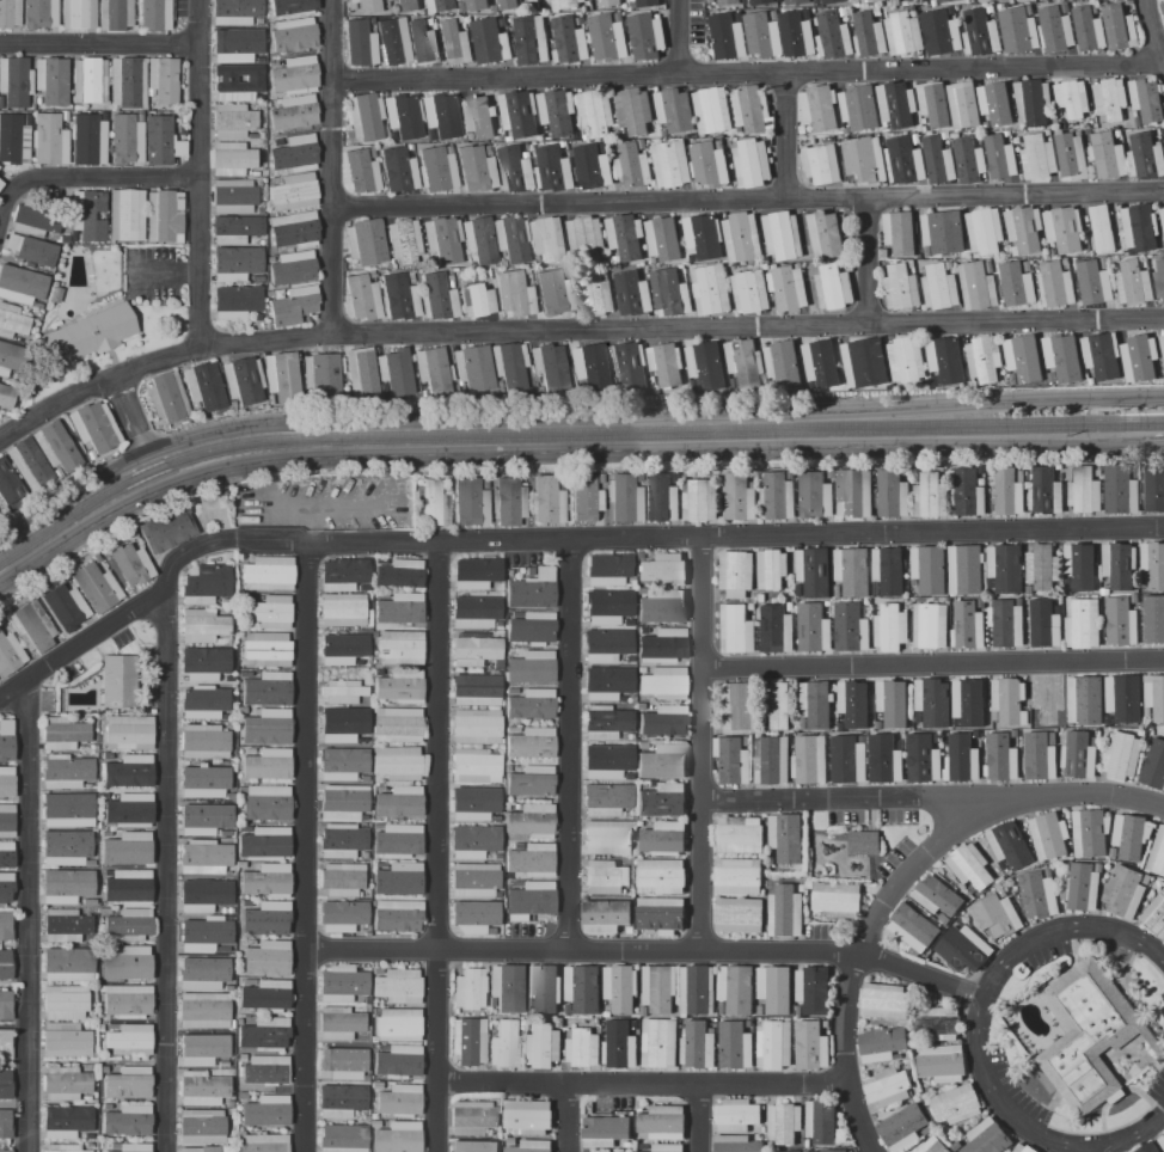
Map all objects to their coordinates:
building: (467, 0)
building: (866, 0)
building: (981, 0)
building: (1011, 0)
building: (1019, 0)
building: (460, 1)
building: (760, 1)
building: (795, 1)
building: (832, 1)
building: (895, 1)
building: (933, 1)
building: (945, 1)
building: (973, 1)
building: (608, 2)
building: (728, 2)
building: (816, 2)
building: (854, 2)
building: (506, 4)
building: (533, 4)
building: (568, 4)
building: (648, 4)
building: (1163, 4)
building: (406, 5)
building: (441, 5)
building: (363, 6)
building: (555, 6)
building: (912, 6)
building: (293, 7)
building: (1065, 8)
building: (1095, 8)
building: (813, 10)
building: (951, 10)
building: (1029, 10)
building: (235, 11)
building: (423, 11)
building: (843, 11)
building: (877, 11)
building: (10, 13)
building: (38, 13)
building: (78, 14)
building: (114, 14)
building: (154, 16)
building: (369, 20)
building: (580, 20)
building: (399, 22)
building: (431, 22)
building: (503, 22)
building: (257, 23)
building: (464, 25)
building: (1119, 26)
building: (1055, 29)
building: (1088, 29)
building: (1018, 30)
road: (1153, 31)
building: (939, 32)
building: (980, 32)
building: (762, 33)
building: (796, 33)
building: (833, 33)
building: (902, 33)
building: (293, 35)
road: (682, 35)
building: (869, 35)
building: (647, 36)
building: (727, 36)
building: (607, 39)
building: (531, 41)
building: (569, 41)
building: (422, 42)
building: (457, 42)
building: (490, 42)
building: (359, 43)
road: (100, 44)
building: (396, 45)
building: (234, 47)
building: (269, 65)
road: (746, 67)
building: (294, 76)
building: (51, 80)
building: (88, 80)
building: (163, 80)
building: (14, 82)
building: (127, 84)
building: (235, 84)
building: (251, 98)
building: (1070, 98)
building: (1110, 98)
building: (1146, 99)
building: (37, 100)
building: (993, 100)
building: (1034, 100)
building: (0, 103)
building: (933, 103)
building: (268, 104)
building: (896, 104)
building: (962, 104)
building: (819, 106)
building: (75, 108)
building: (859, 108)
building: (749, 109)
building: (557, 110)
building: (633, 110)
building: (674, 110)
building: (711, 110)
building: (404, 111)
building: (595, 111)
building: (519, 112)
building: (293, 114)
building: (441, 114)
building: (63, 116)
building: (102, 116)
building: (477, 116)
building: (139, 117)
building: (364, 117)
building: (923, 120)
building: (233, 121)
building: (1137, 121)
building: (801, 128)
building: (924, 128)
building: (182, 130)
building: (841, 130)
building: (1048, 131)
building: (1059, 131)
building: (1078, 131)
road: (786, 133)
building: (1007, 133)
building: (1117, 133)
building: (955, 134)
building: (252, 135)
building: (261, 135)
building: (945, 136)
building: (468, 137)
building: (915, 137)
building: (49, 139)
building: (124, 139)
building: (391, 139)
building: (431, 139)
building: (509, 139)
building: (86, 140)
building: (827, 140)
building: (13, 141)
building: (160, 141)
building: (563, 143)
building: (946, 143)
building: (643, 145)
building: (409, 146)
building: (446, 148)
building: (1163, 148)
building: (486, 151)
building: (370, 152)
building: (294, 153)
building: (526, 153)
building: (1107, 155)
building: (1146, 155)
building: (999, 157)
building: (1037, 157)
building: (1071, 157)
building: (231, 159)
building: (864, 159)
building: (903, 160)
building: (937, 160)
building: (969, 160)
building: (751, 163)
building: (670, 164)
building: (822, 164)
building: (632, 165)
building: (709, 165)
road: (331, 166)
building: (594, 167)
building: (552, 168)
building: (398, 170)
building: (477, 170)
building: (514, 170)
building: (361, 172)
road: (201, 173)
building: (255, 173)
building: (435, 173)
building: (247, 176)
road: (93, 180)
building: (1, 184)
building: (293, 192)
building: (233, 197)
road: (747, 200)
building: (261, 209)
building: (125, 215)
building: (86, 216)
building: (164, 217)
building: (33, 219)
building: (1162, 219)
building: (1101, 226)
building: (1024, 228)
building: (1064, 228)
building: (1140, 228)
building: (235, 229)
building: (293, 229)
building: (985, 229)
building: (899, 232)
building: (942, 232)
building: (825, 234)
building: (625, 235)
building: (782, 235)
building: (586, 237)
building: (702, 237)
building: (741, 237)
building: (662, 238)
building: (63, 239)
building: (442, 239)
building: (483, 239)
building: (547, 239)
building: (403, 240)
building: (514, 240)
building: (261, 241)
building: (364, 241)
building: (255, 243)
building: (30, 250)
building: (1015, 251)
building: (1125, 251)
building: (269, 252)
building: (1053, 252)
building: (918, 256)
road: (868, 258)
building: (269, 259)
building: (617, 259)
building: (1066, 262)
building: (1104, 263)
building: (237, 264)
building: (503, 264)
building: (949, 264)
building: (1144, 264)
building: (29, 265)
building: (471, 265)
building: (538, 265)
building: (911, 266)
building: (988, 266)
building: (1027, 266)
building: (293, 269)
building: (454, 270)
road: (167, 271)
building: (526, 272)
building: (41, 274)
parking lot: (152, 274)
building: (485, 274)
building: (370, 275)
building: (257, 278)
building: (449, 278)
building: (1159, 278)
building: (1093, 282)
building: (1133, 283)
building: (1016, 284)
building: (1054, 284)
building: (19, 286)
building: (976, 286)
building: (788, 287)
building: (833, 287)
building: (900, 287)
building: (939, 287)
building: (710, 289)
building: (749, 292)
building: (594, 293)
building: (632, 293)
building: (669, 293)
building: (269, 294)
building: (513, 294)
building: (55, 295)
building: (553, 296)
building: (398, 298)
building: (437, 298)
building: (361, 299)
building: (235, 301)
building: (477, 301)
building: (293, 305)
building: (12, 321)
road: (570, 326)
building: (88, 335)
building: (1162, 347)
building: (1022, 355)
building: (1102, 355)
building: (945, 357)
building: (1060, 357)
building: (1139, 357)
building: (7, 359)
building: (984, 359)
flagpole: (99, 360)
building: (907, 360)
building: (743, 362)
building: (820, 362)
building: (627, 363)
building: (666, 363)
building: (780, 363)
building: (864, 363)
building: (705, 364)
building: (509, 367)
building: (589, 367)
building: (393, 368)
building: (473, 368)
building: (547, 369)
building: (433, 370)
building: (361, 373)
building: (281, 375)
building: (321, 375)
building: (243, 381)
building: (204, 385)
building: (6, 397)
building: (167, 397)
building: (270, 404)
building: (232, 405)
railway: (1120, 410)
building: (233, 411)
building: (1, 412)
road: (133, 415)
road: (568, 417)
building: (94, 427)
railway: (566, 430)
railway: (566, 440)
building: (57, 446)
road: (1153, 446)
road: (555, 452)
building: (90, 455)
road: (566, 462)
building: (30, 464)
building: (1058, 465)
building: (944, 467)
building: (1099, 467)
building: (981, 470)
building: (906, 472)
building: (1098, 472)
building: (57, 473)
building: (833, 473)
building: (1137, 473)
building: (1021, 476)
building: (1061, 476)
building: (675, 479)
building: (8, 483)
building: (447, 484)
building: (753, 484)
building: (1153, 486)
building: (1084, 490)
building: (1120, 490)
building: (1009, 491)
building: (1046, 491)
building: (852, 492)
building: (969, 492)
building: (893, 495)
building: (739, 496)
building: (777, 496)
building: (815, 496)
building: (930, 496)
building: (660, 497)
building: (624, 498)
building: (251, 501)
building: (546, 501)
building: (700, 501)
building: (508, 502)
building: (584, 502)
building: (207, 503)
building: (431, 503)
building: (470, 505)
building: (5, 513)
building: (252, 520)
building: (167, 529)
road: (653, 537)
building: (639, 556)
building: (94, 557)
building: (240, 557)
building: (249, 557)
building: (380, 560)
building: (129, 562)
building: (1119, 564)
building: (1153, 564)
building: (1079, 565)
building: (1041, 566)
building: (1004, 568)
building: (771, 569)
building: (929, 569)
building: (966, 569)
building: (608, 570)
building: (663, 570)
building: (852, 570)
building: (888, 570)
building: (813, 571)
building: (476, 572)
building: (736, 572)
building: (268, 574)
building: (342, 574)
building: (399, 574)
building: (632, 583)
building: (204, 584)
building: (990, 584)
building: (626, 586)
building: (96, 588)
building: (362, 589)
building: (532, 589)
building: (876, 589)
building: (1029, 589)
building: (798, 590)
building: (838, 592)
building: (1104, 592)
building: (754, 594)
building: (1095, 595)
building: (761, 596)
building: (936, 599)
building: (1134, 599)
building: (944, 600)
building: (1019, 601)
building: (981, 602)
building: (65, 606)
building: (661, 606)
building: (790, 606)
building: (607, 607)
building: (752, 608)
building: (341, 609)
building: (399, 609)
building: (866, 611)
building: (990, 611)
building: (268, 612)
building: (476, 612)
building: (828, 614)
building: (369, 618)
building: (1153, 620)
building: (1120, 621)
building: (627, 623)
building: (1007, 623)
building: (497, 624)
building: (1044, 624)
building: (1083, 624)
building: (202, 625)
building: (967, 625)
building: (31, 626)
building: (851, 626)
building: (890, 626)
building: (930, 626)
building: (529, 627)
building: (814, 627)
building: (736, 629)
building: (774, 629)
building: (644, 631)
building: (239, 635)
road: (82, 641)
building: (606, 645)
building: (661, 645)
building: (341, 648)
building: (398, 648)
building: (267, 649)
building: (473, 649)
building: (11, 655)
building: (629, 660)
building: (356, 663)
road: (932, 663)
building: (203, 664)
building: (489, 664)
building: (529, 667)
building: (641, 670)
building: (378, 673)
building: (244, 674)
building: (227, 680)
building: (118, 681)
building: (607, 684)
building: (663, 684)
building: (400, 687)
building: (267, 690)
building: (476, 691)
building: (342, 692)
building: (511, 692)
building: (1154, 696)
building: (620, 698)
building: (1122, 698)
building: (632, 699)
building: (1047, 699)
building: (1009, 700)
building: (1084, 700)
building: (202, 703)
building: (931, 703)
building: (967, 703)
building: (531, 704)
building: (853, 704)
building: (890, 704)
building: (779, 705)
building: (814, 705)
building: (639, 706)
building: (739, 707)
building: (1147, 711)
building: (240, 712)
building: (994, 716)
building: (1109, 716)
building: (223, 717)
building: (663, 721)
building: (606, 723)
building: (955, 723)
building: (1109, 724)
building: (396, 725)
building: (265, 727)
building: (339, 727)
building: (476, 727)
building: (765, 727)
building: (840, 727)
building: (511, 730)
building: (128, 731)
building: (1141, 731)
building: (1015, 733)
building: (62, 734)
building: (975, 734)
building: (630, 737)
building: (937, 737)
building: (1052, 737)
building: (368, 739)
building: (862, 739)
building: (1148, 739)
building: (1093, 740)
building: (6, 741)
building: (747, 741)
building: (203, 742)
road: (700, 742)
building: (531, 743)
road: (566, 743)
building: (642, 744)
building: (900, 746)
building: (92, 747)
building: (82, 748)
building: (250, 750)
building: (1078, 755)
building: (1121, 755)
building: (103, 756)
building: (1000, 756)
building: (1040, 756)
building: (771, 759)
building: (884, 759)
building: (923, 759)
building: (809, 760)
building: (849, 760)
building: (962, 760)
building: (607, 761)
building: (662, 761)
building: (731, 761)
building: (397, 764)
building: (201, 765)
building: (264, 765)
building: (341, 765)
building: (473, 766)
building: (1153, 766)
building: (507, 768)
building: (65, 772)
building: (128, 772)
building: (627, 777)
building: (363, 778)
building: (201, 782)
building: (529, 782)
building: (6, 783)
building: (650, 785)
building: (86, 786)
building: (380, 788)
building: (102, 797)
building: (231, 797)
road: (870, 798)
building: (605, 799)
building: (662, 801)
building: (265, 803)
building: (342, 803)
building: (398, 803)
building: (474, 803)
road: (1157, 804)
building: (506, 807)
building: (129, 809)
building: (67, 810)
building: (623, 814)
building: (203, 819)
building: (495, 819)
building: (6, 820)
building: (529, 821)
building: (641, 823)
building: (253, 825)
building: (1090, 832)
building: (226, 833)
building: (739, 834)
building: (100, 835)
building: (1048, 835)
building: (1131, 835)
building: (607, 837)
building: (785, 838)
building: (663, 839)
building: (341, 840)
building: (397, 840)
building: (473, 841)
building: (863, 842)
building: (262, 844)
building: (1010, 844)
building: (102, 846)
road: (305, 846)
road: (435, 846)
building: (516, 846)
building: (65, 847)
building: (131, 847)
building: (1113, 852)
building: (1157, 852)
building: (7, 856)
building: (363, 856)
building: (203, 857)
building: (496, 857)
building: (374, 858)
building: (531, 860)
building: (772, 860)
building: (88, 863)
building: (239, 865)
building: (380, 865)
building: (969, 865)
building: (1099, 866)
road: (163, 869)
building: (1048, 871)
building: (227, 872)
building: (661, 876)
building: (737, 876)
building: (606, 877)
building: (1146, 878)
building: (341, 880)
building: (398, 880)
building: (474, 880)
building: (267, 881)
building: (507, 882)
building: (808, 883)
building: (66, 886)
building: (127, 886)
road: (896, 887)
building: (1080, 887)
building: (5, 888)
building: (972, 888)
building: (801, 889)
building: (805, 891)
building: (1003, 891)
building: (1123, 891)
building: (937, 893)
building: (359, 894)
building: (203, 895)
building: (497, 895)
building: (1039, 895)
building: (529, 897)
building: (837, 899)
building: (88, 901)
building: (239, 905)
building: (103, 911)
building: (227, 911)
building: (784, 912)
building: (661, 914)
building: (739, 914)
road: (23, 915)
building: (342, 915)
building: (396, 915)
building: (605, 915)
building: (1154, 915)
building: (994, 917)
building: (268, 918)
building: (473, 918)
building: (943, 918)
building: (66, 925)
building: (6, 926)
building: (127, 926)
building: (913, 927)
building: (630, 930)
building: (203, 933)
building: (366, 935)
building: (243, 944)
building: (221, 950)
road: (648, 950)
building: (962, 950)
building: (267, 958)
building: (124, 963)
building: (68, 964)
building: (6, 966)
building: (202, 973)
building: (249, 982)
building: (342, 984)
building: (398, 986)
building: (620, 986)
building: (506, 987)
building: (543, 987)
building: (658, 987)
building: (228, 988)
building: (468, 988)
building: (582, 988)
building: (735, 988)
building: (774, 988)
building: (813, 988)
building: (697, 989)
building: (264, 997)
building: (127, 1001)
building: (491, 1001)
building: (884, 1001)
building: (65, 1003)
building: (5, 1006)
building: (721, 1006)
building: (568, 1009)
building: (203, 1010)
building: (455, 1011)
building: (607, 1013)
building: (644, 1013)
building: (91, 1015)
building: (246, 1016)
building: (233, 1017)
building: (558, 1021)
building: (564, 1021)
building: (598, 1021)
building: (238, 1022)
building: (712, 1022)
building: (339, 1023)
building: (749, 1023)
building: (398, 1024)
building: (635, 1024)
building: (826, 1024)
building: (937, 1024)
building: (520, 1025)
building: (100, 1028)
building: (711, 1029)
building: (1088, 1034)
building: (263, 1035)
road: (980, 1035)
building: (129, 1040)
building: (66, 1041)
building: (468, 1041)
building: (660, 1042)
building: (5, 1044)
building: (232, 1044)
building: (620, 1044)
building: (735, 1044)
building: (773, 1044)
building: (810, 1044)
building: (881, 1044)
building: (504, 1046)
building: (543, 1046)
building: (697, 1046)
building: (582, 1048)
building: (200, 1049)
building: (93, 1054)
building: (897, 1055)
building: (241, 1058)
building: (397, 1060)
building: (338, 1062)
building: (943, 1064)
building: (228, 1065)
building: (221, 1066)
building: (103, 1068)
building: (264, 1071)
road: (641, 1081)
building: (66, 1083)
building: (128, 1083)
building: (5, 1085)
building: (888, 1087)
building: (203, 1089)
building: (94, 1096)
building: (241, 1096)
building: (86, 1098)
building: (339, 1099)
building: (398, 1101)
building: (955, 1104)
building: (229, 1105)
building: (106, 1107)
building: (265, 1111)
building: (736, 1115)
building: (527, 1116)
road: (564, 1116)
road: (698, 1116)
building: (472, 1117)
building: (66, 1121)
building: (127, 1121)
building: (662, 1122)
building: (783, 1122)
building: (820, 1122)
building: (5, 1125)
building: (201, 1127)
building: (902, 1128)
building: (605, 1129)
building: (762, 1129)
building: (927, 1130)
building: (489, 1133)
building: (87, 1136)
building: (396, 1136)
building: (987, 1138)
building: (341, 1139)
building: (1160, 1140)
building: (511, 1141)
building: (261, 1142)
building: (627, 1144)
building: (737, 1144)
building: (807, 1144)
building: (471, 1145)
building: (938, 1145)
building: (112, 1146)
building: (531, 1146)
building: (645, 1146)
building: (62, 1147)
building: (133, 1147)
building: (1147, 1147)
building: (201, 1148)
building: (226, 1148)
building: (668, 1148)
building: (1023, 1148)
road: (1104, 1148)
building: (5, 1150)
building: (598, 1151)
building: (807, 1151)
building: (833, 1151)

